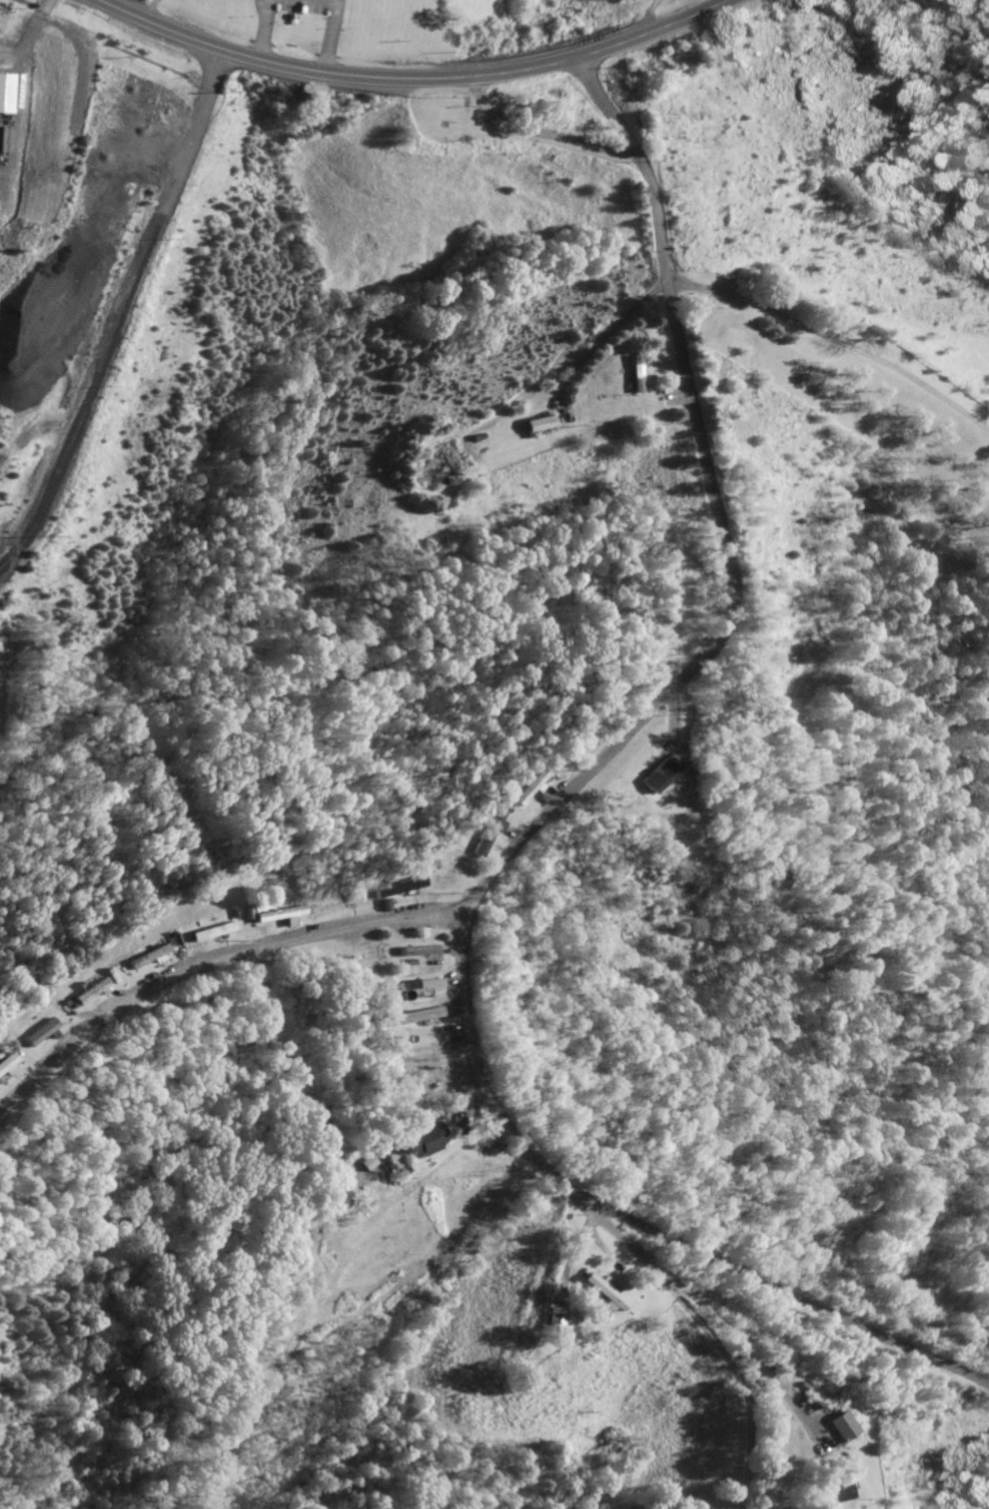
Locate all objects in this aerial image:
road: (266, 30)
road: (329, 36)
road: (413, 79)
building: (8, 92)
road: (535, 133)
road: (113, 302)
road: (833, 343)
building: (634, 377)
building: (539, 424)
road: (659, 696)
building: (651, 776)
building: (526, 789)
building: (485, 832)
building: (394, 887)
building: (278, 915)
building: (210, 932)
building: (414, 951)
building: (148, 957)
road: (210, 957)
building: (422, 984)
building: (399, 985)
building: (88, 993)
building: (411, 1016)
building: (37, 1033)
building: (4, 1064)
building: (418, 1138)
building: (602, 1292)
road: (811, 1309)
road: (698, 1311)
building: (554, 1315)
building: (833, 1425)
building: (825, 1492)

